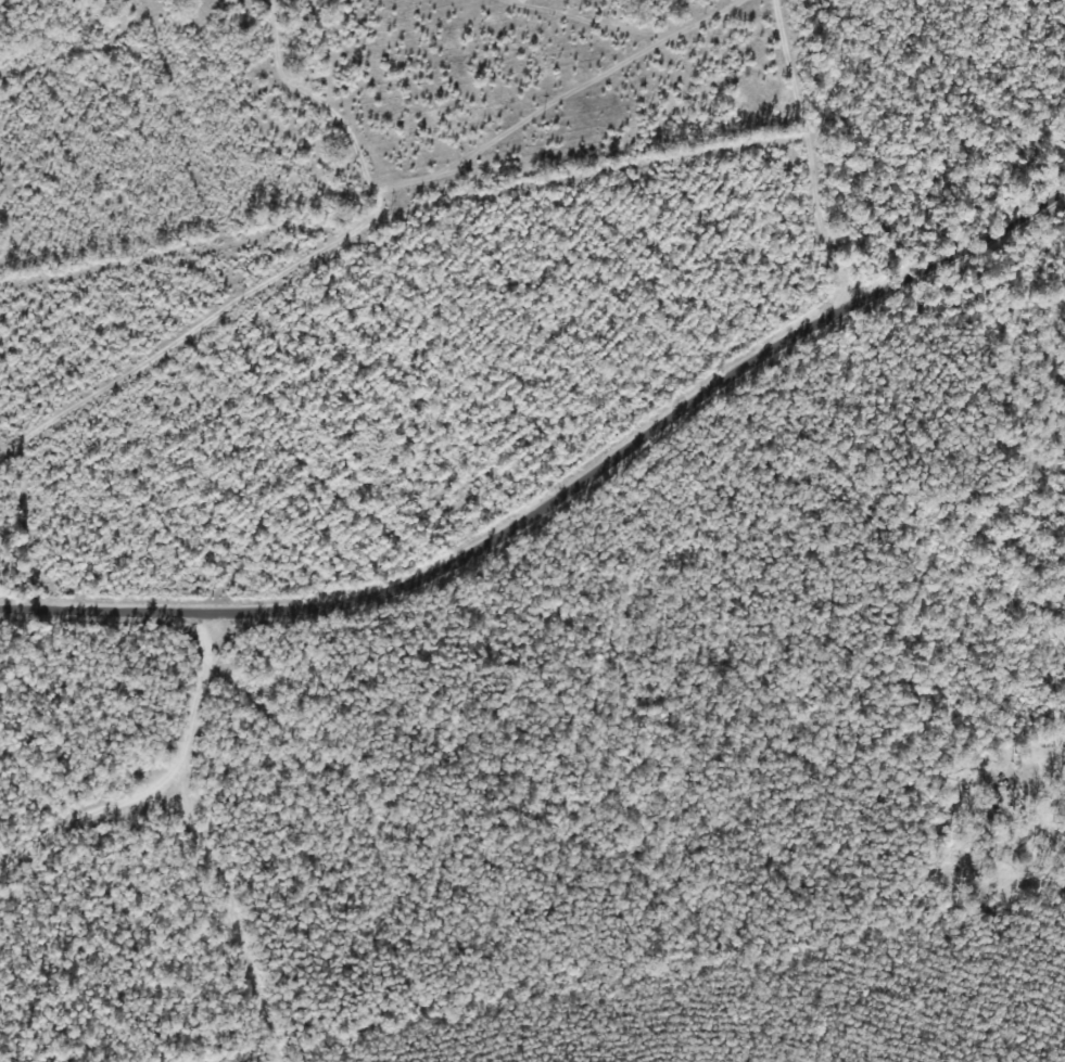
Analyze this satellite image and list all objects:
road: (776, 140)
road: (550, 453)

